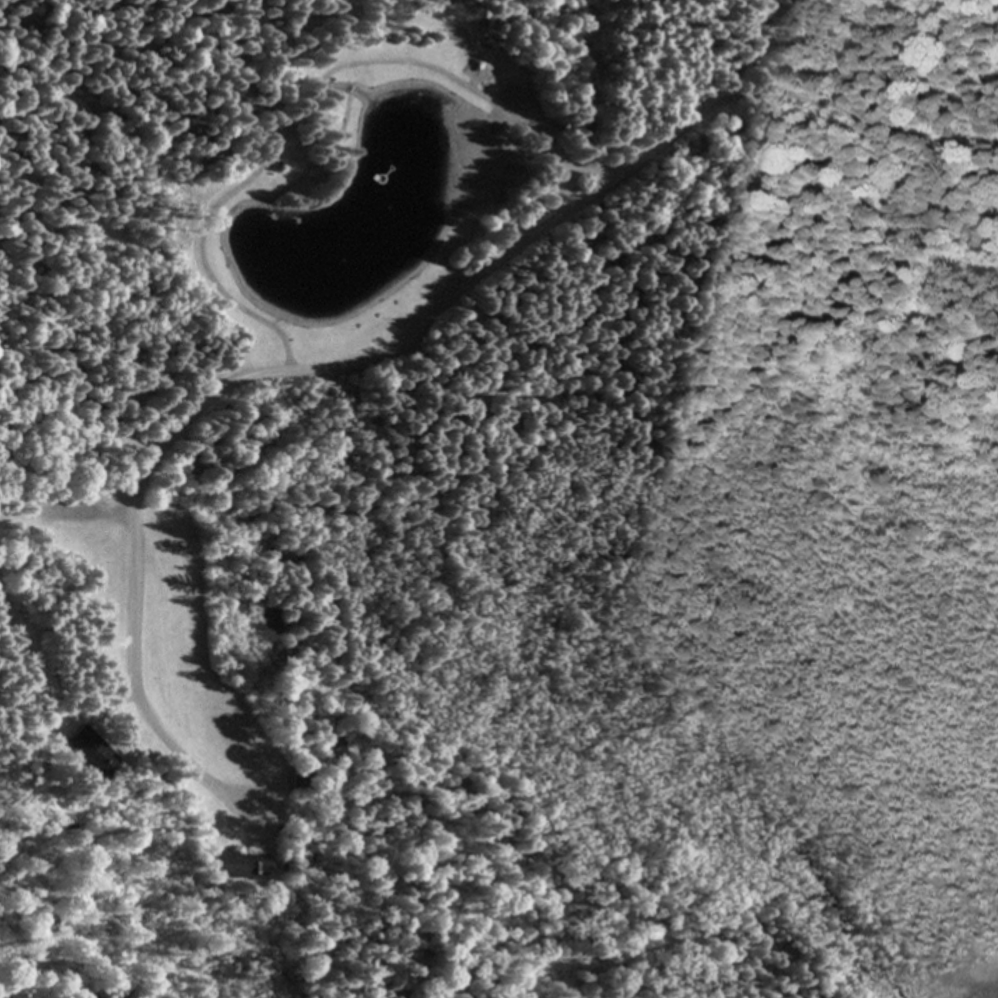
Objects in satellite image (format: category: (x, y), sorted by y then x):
road: (333, 370)
building: (270, 620)
building: (89, 752)
building: (233, 867)

